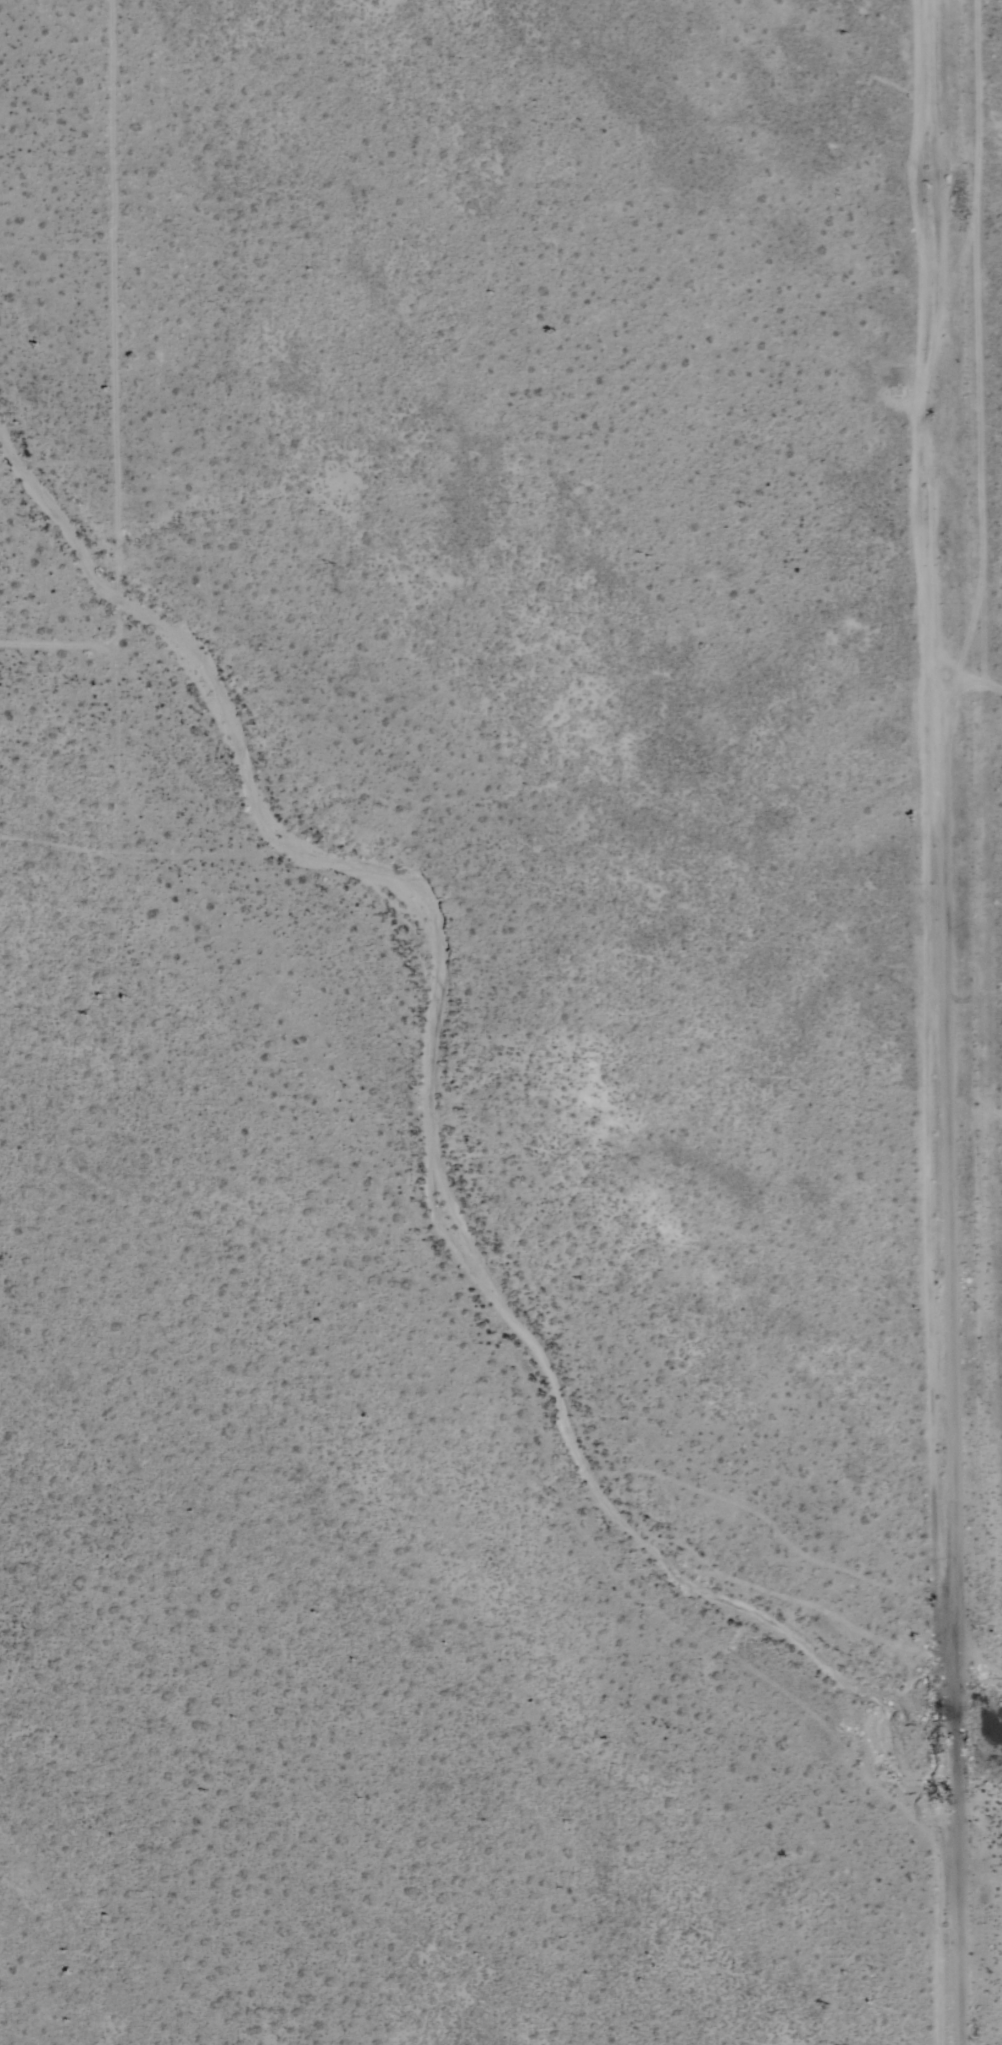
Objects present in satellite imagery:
road: (54, 248)
road: (110, 322)
road: (61, 642)
road: (976, 684)
road: (952, 1022)

